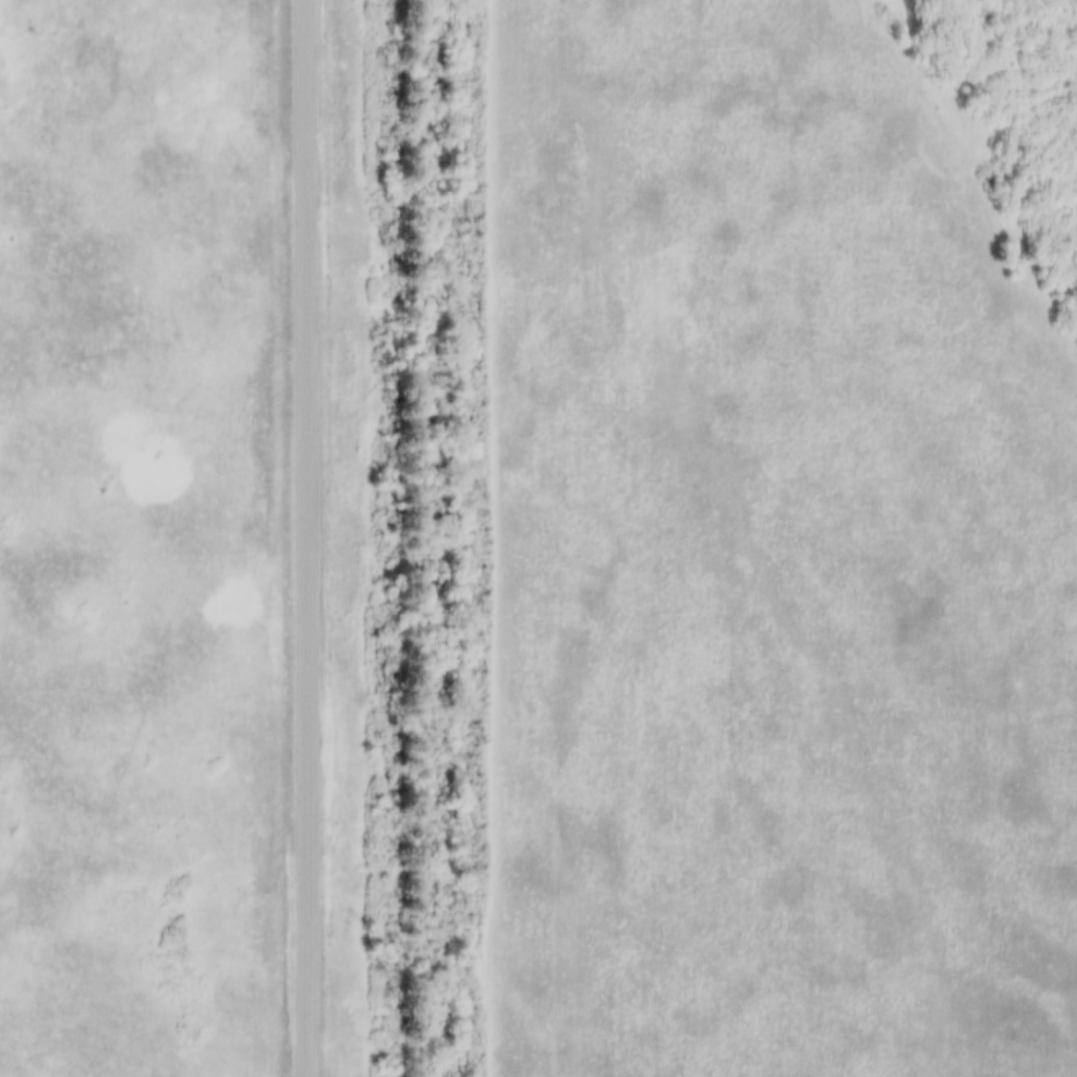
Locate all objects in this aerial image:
road: (306, 538)

